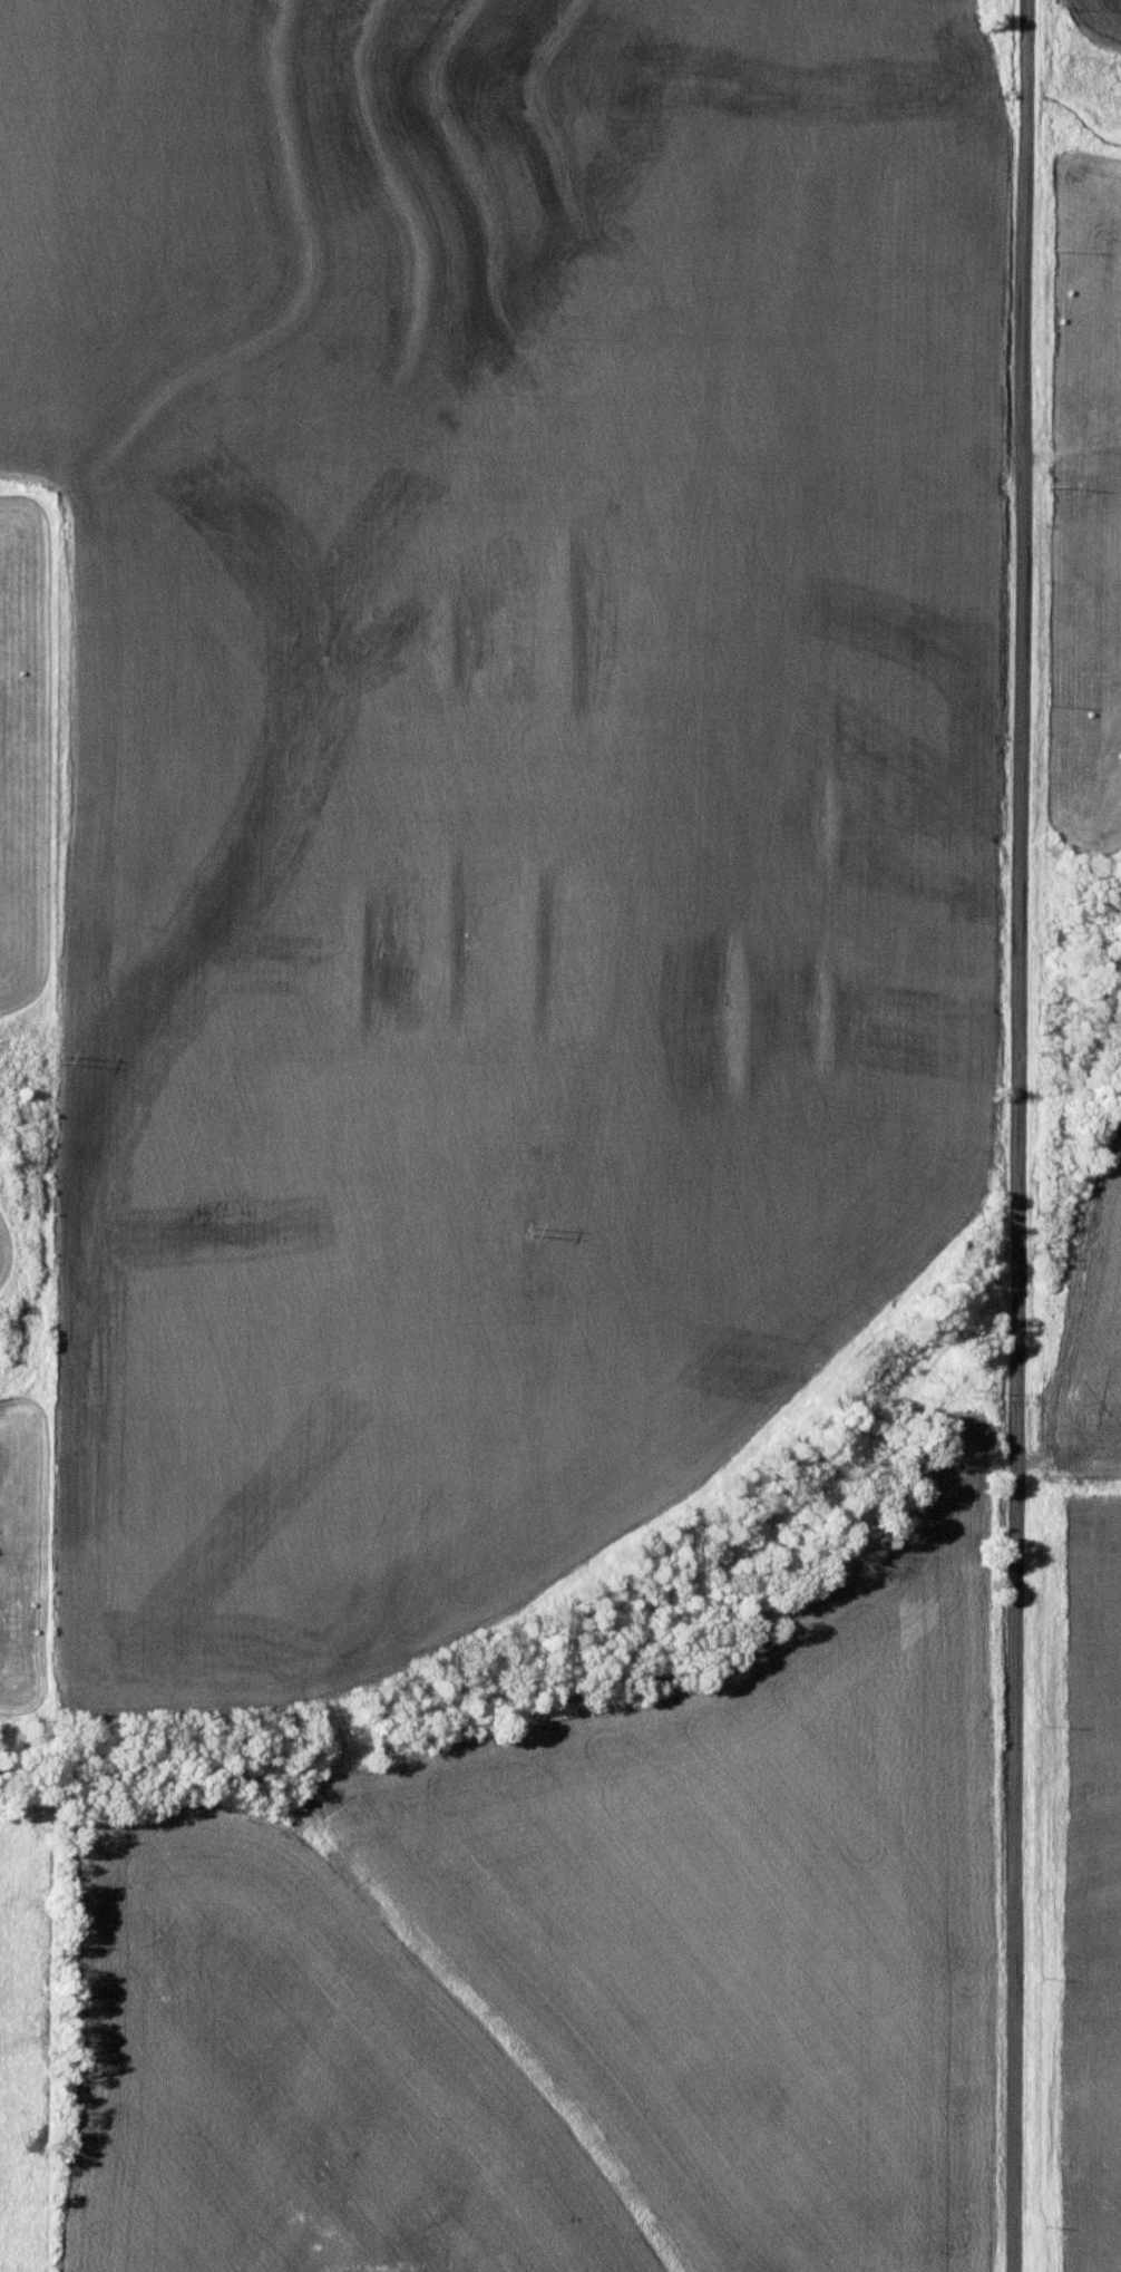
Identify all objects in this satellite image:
road: (1022, 1135)

